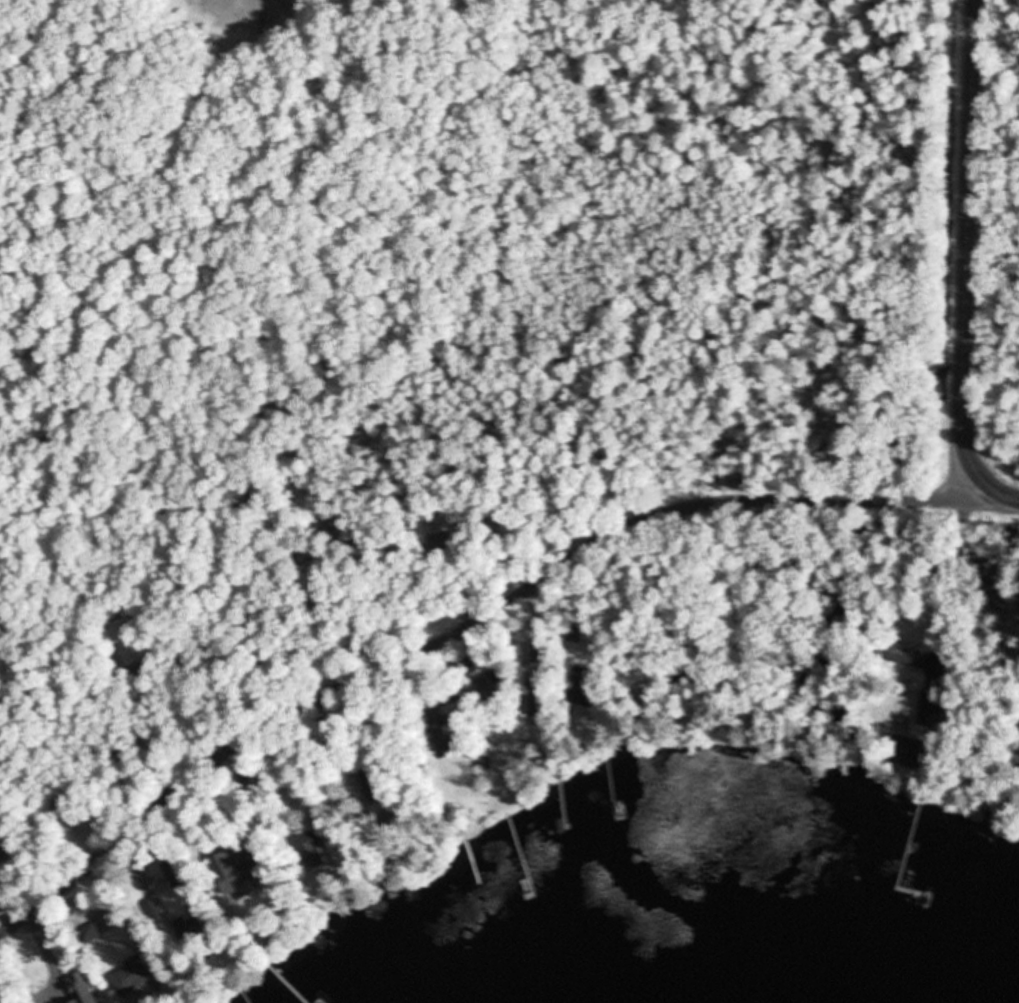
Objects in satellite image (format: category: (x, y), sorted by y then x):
road: (969, 247)
road: (997, 498)
road: (460, 632)
road: (961, 635)
building: (904, 657)
building: (470, 661)
building: (494, 685)
building: (537, 694)
building: (249, 779)
building: (315, 853)
river: (830, 888)
building: (252, 899)
building: (155, 907)
building: (196, 938)
building: (132, 982)
building: (82, 989)

